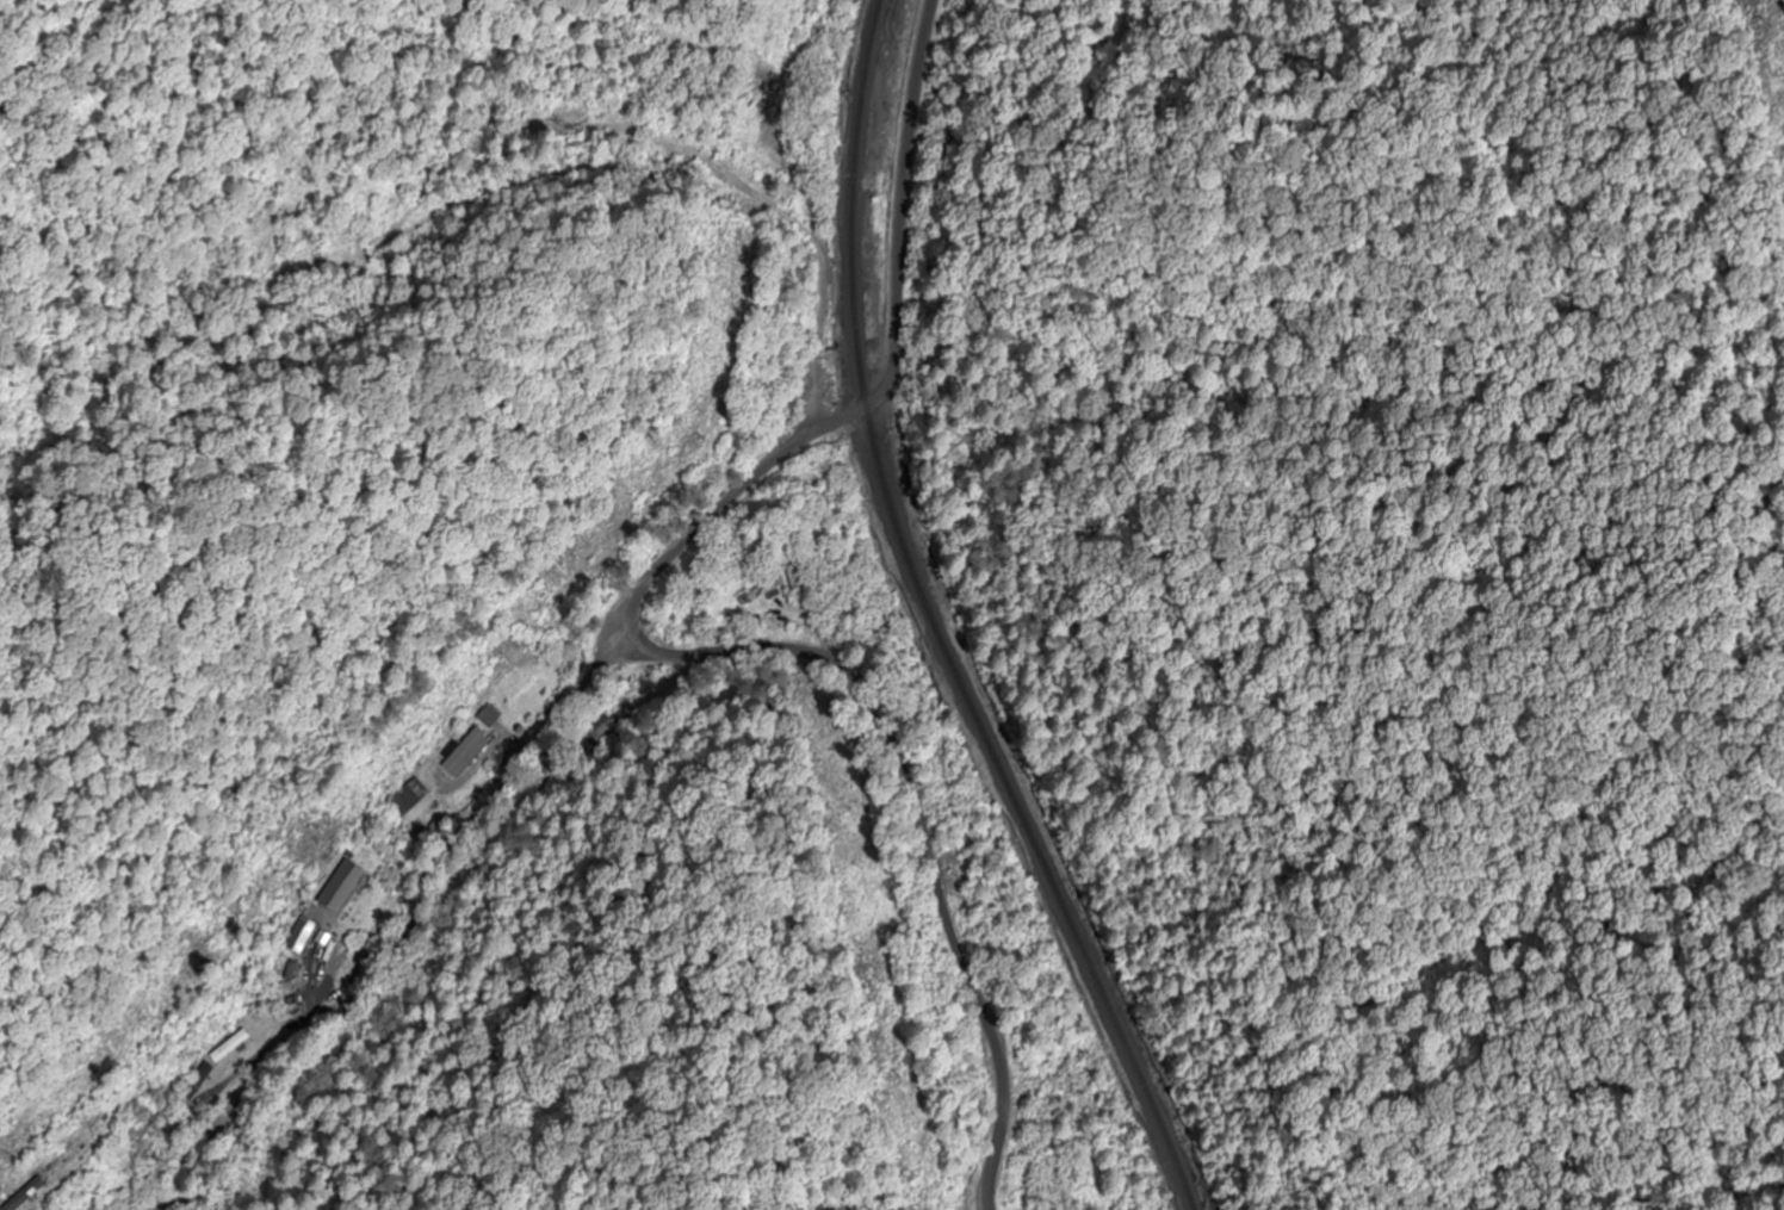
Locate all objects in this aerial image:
road: (723, 173)
road: (899, 236)
road: (707, 519)
building: (801, 579)
building: (767, 592)
railway: (934, 625)
building: (609, 727)
building: (469, 751)
building: (411, 798)
road: (936, 811)
building: (345, 886)
road: (358, 917)
building: (301, 944)
building: (234, 1048)
building: (31, 1195)

